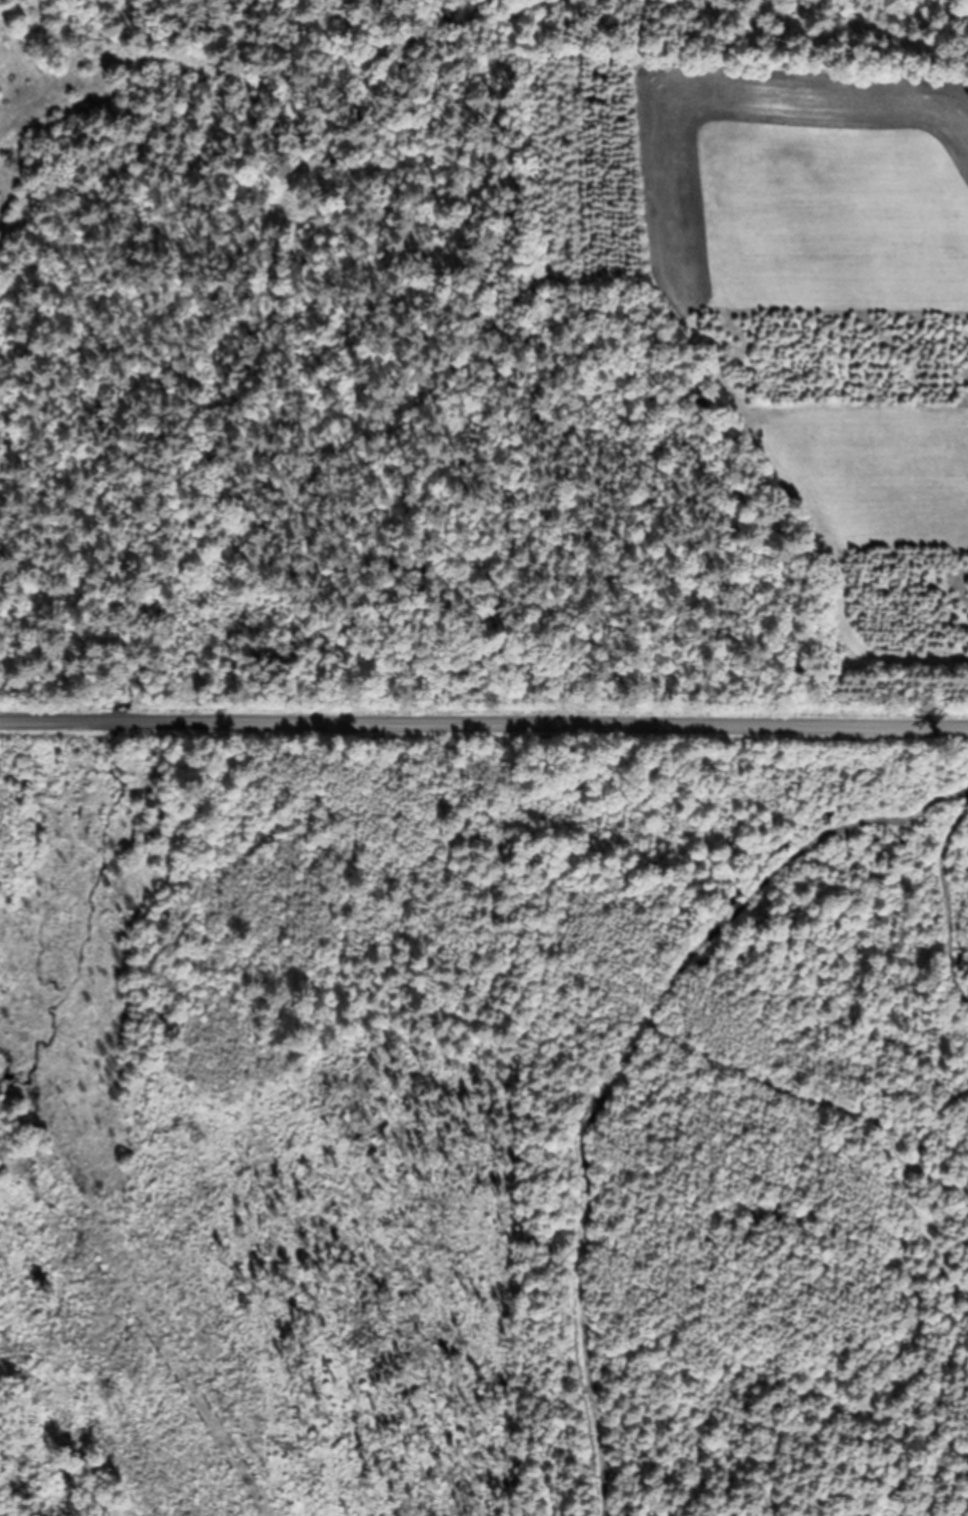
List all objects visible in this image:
road: (484, 730)

